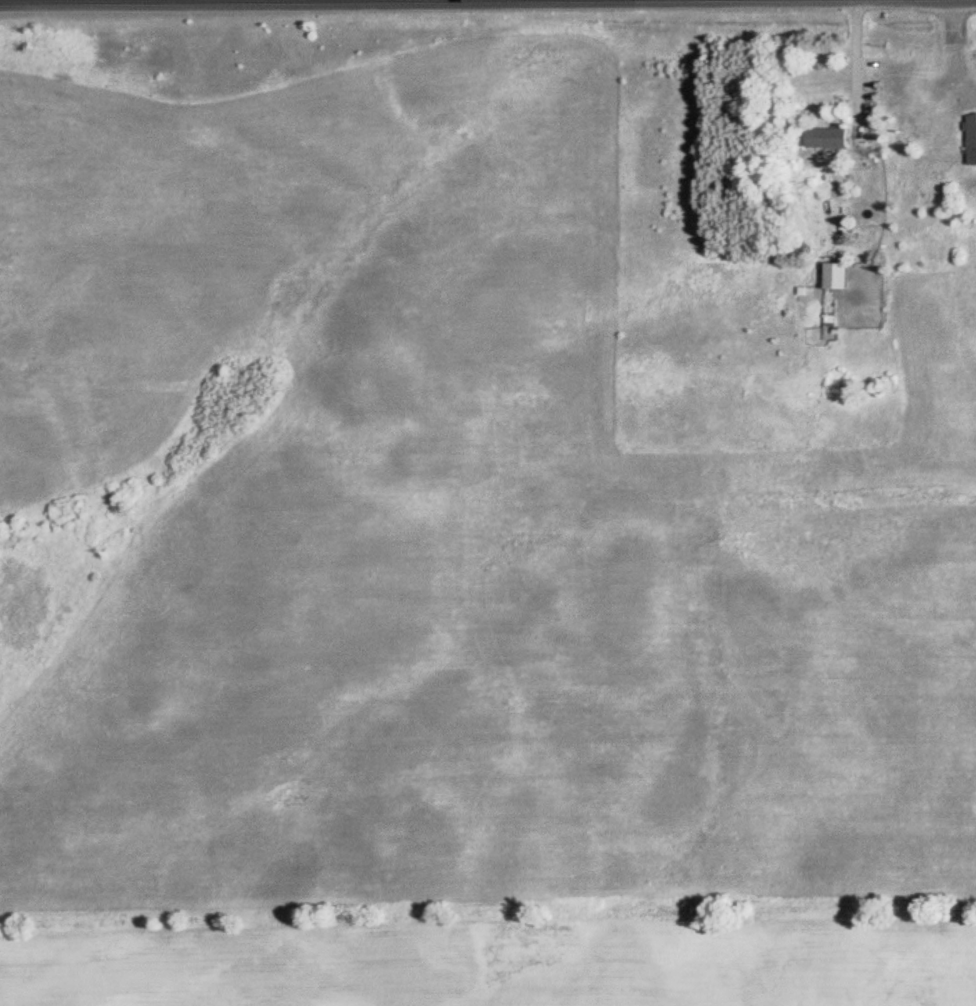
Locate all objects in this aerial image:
building: (830, 137)
building: (973, 138)
building: (838, 275)
crop: (452, 524)
crop: (497, 960)

